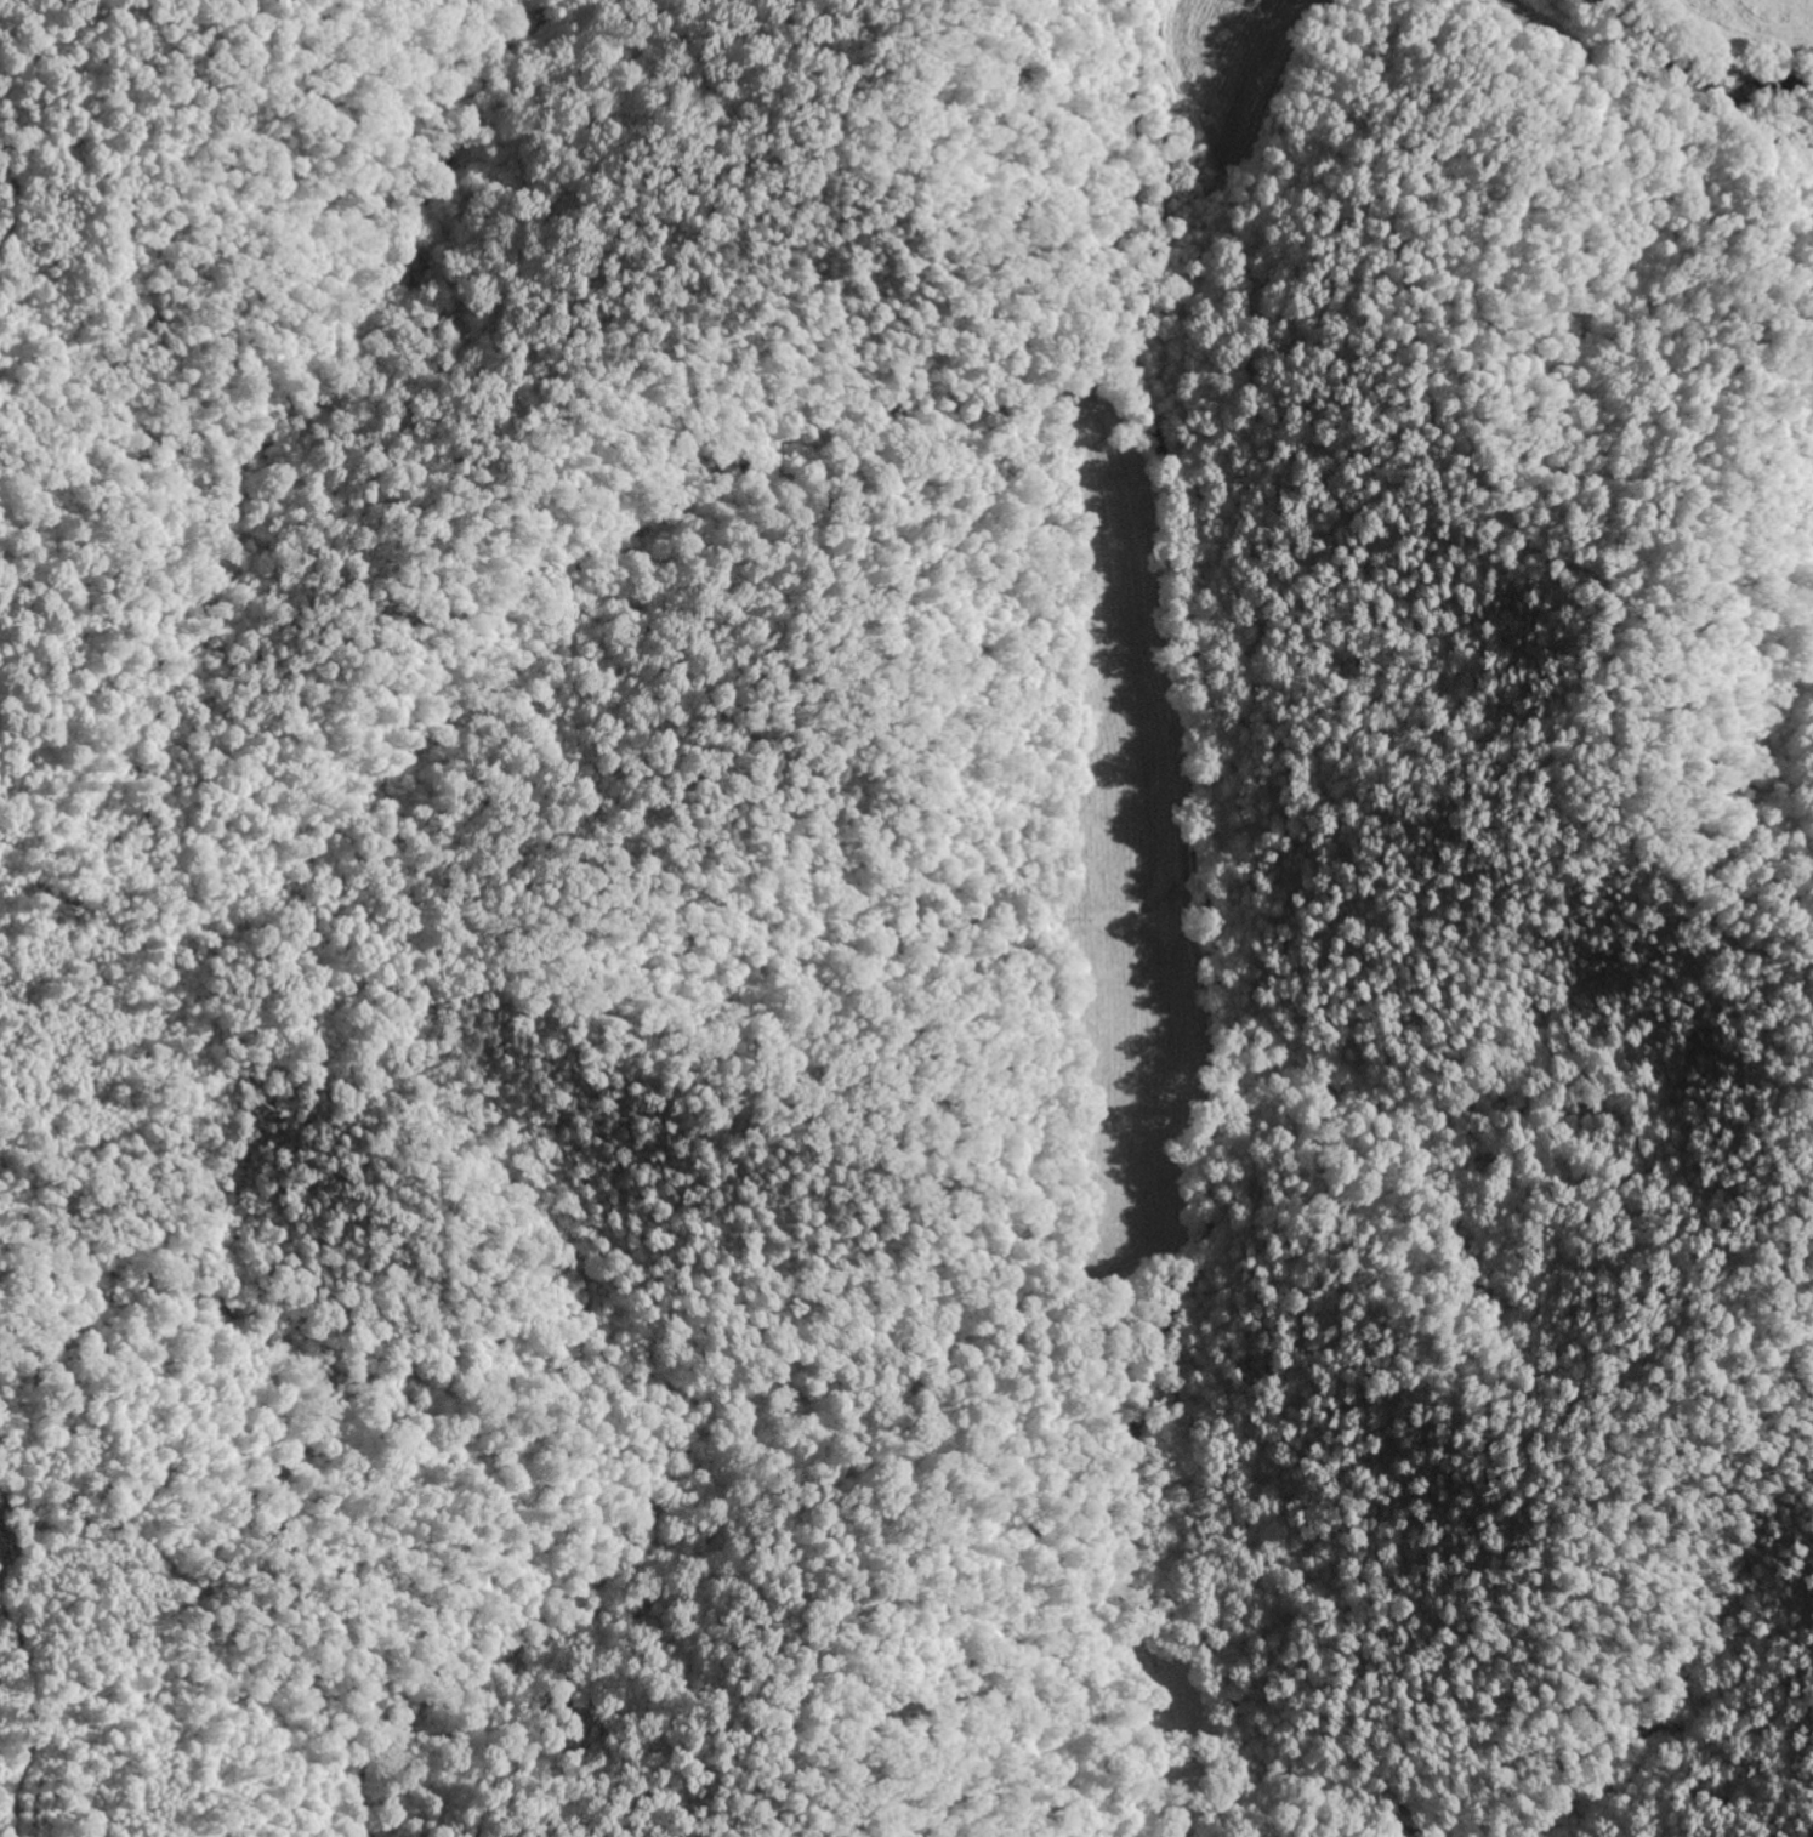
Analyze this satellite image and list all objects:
road: (1775, 16)

